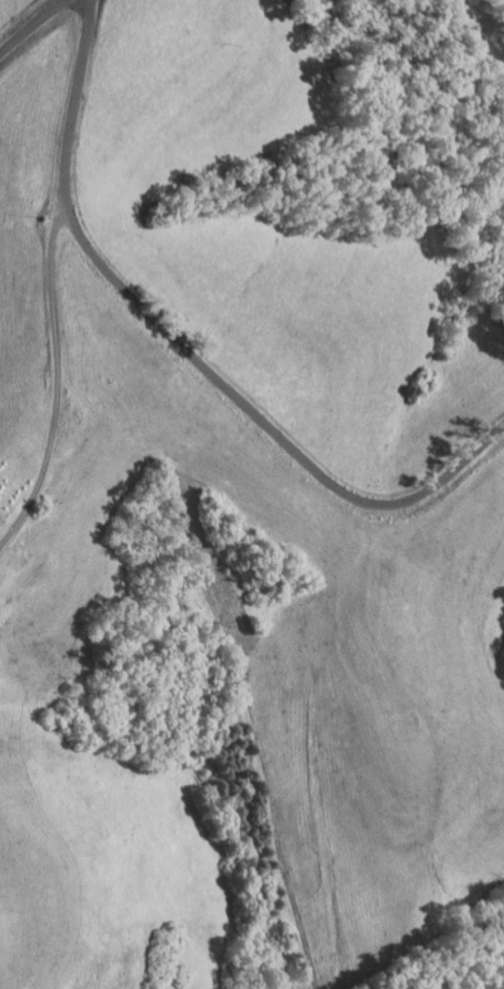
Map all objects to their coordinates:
road: (32, 27)
road: (188, 351)
road: (55, 376)

